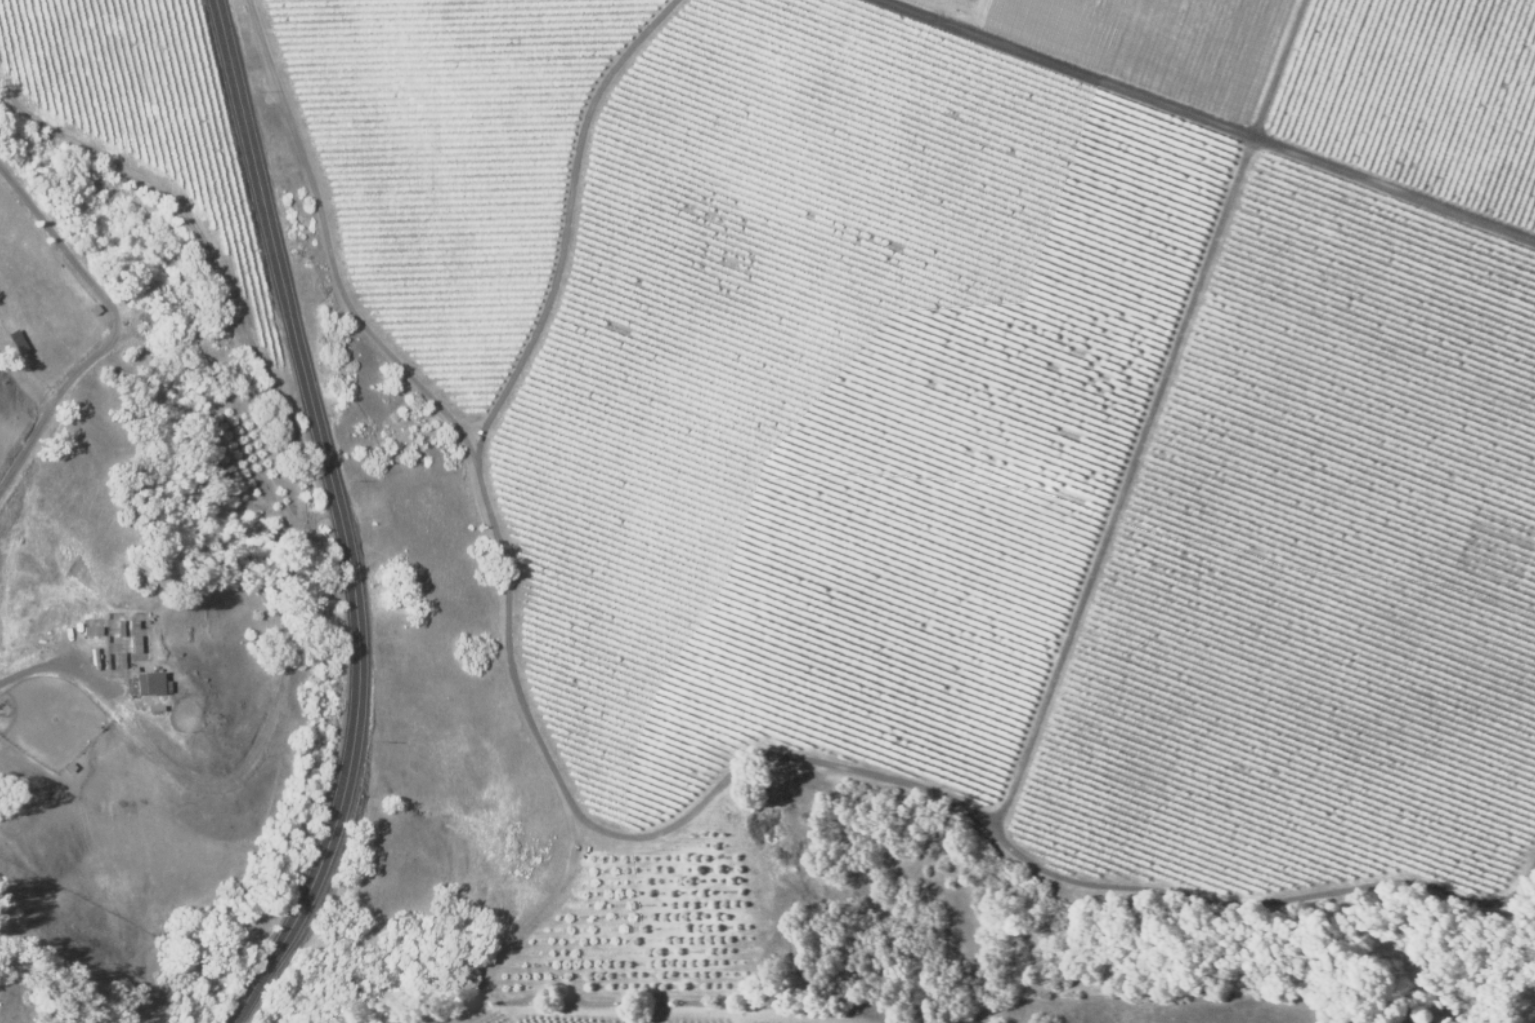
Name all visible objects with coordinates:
road: (812, 4)
road: (132, 178)
road: (35, 385)
road: (347, 519)
road: (266, 635)
building: (147, 683)

